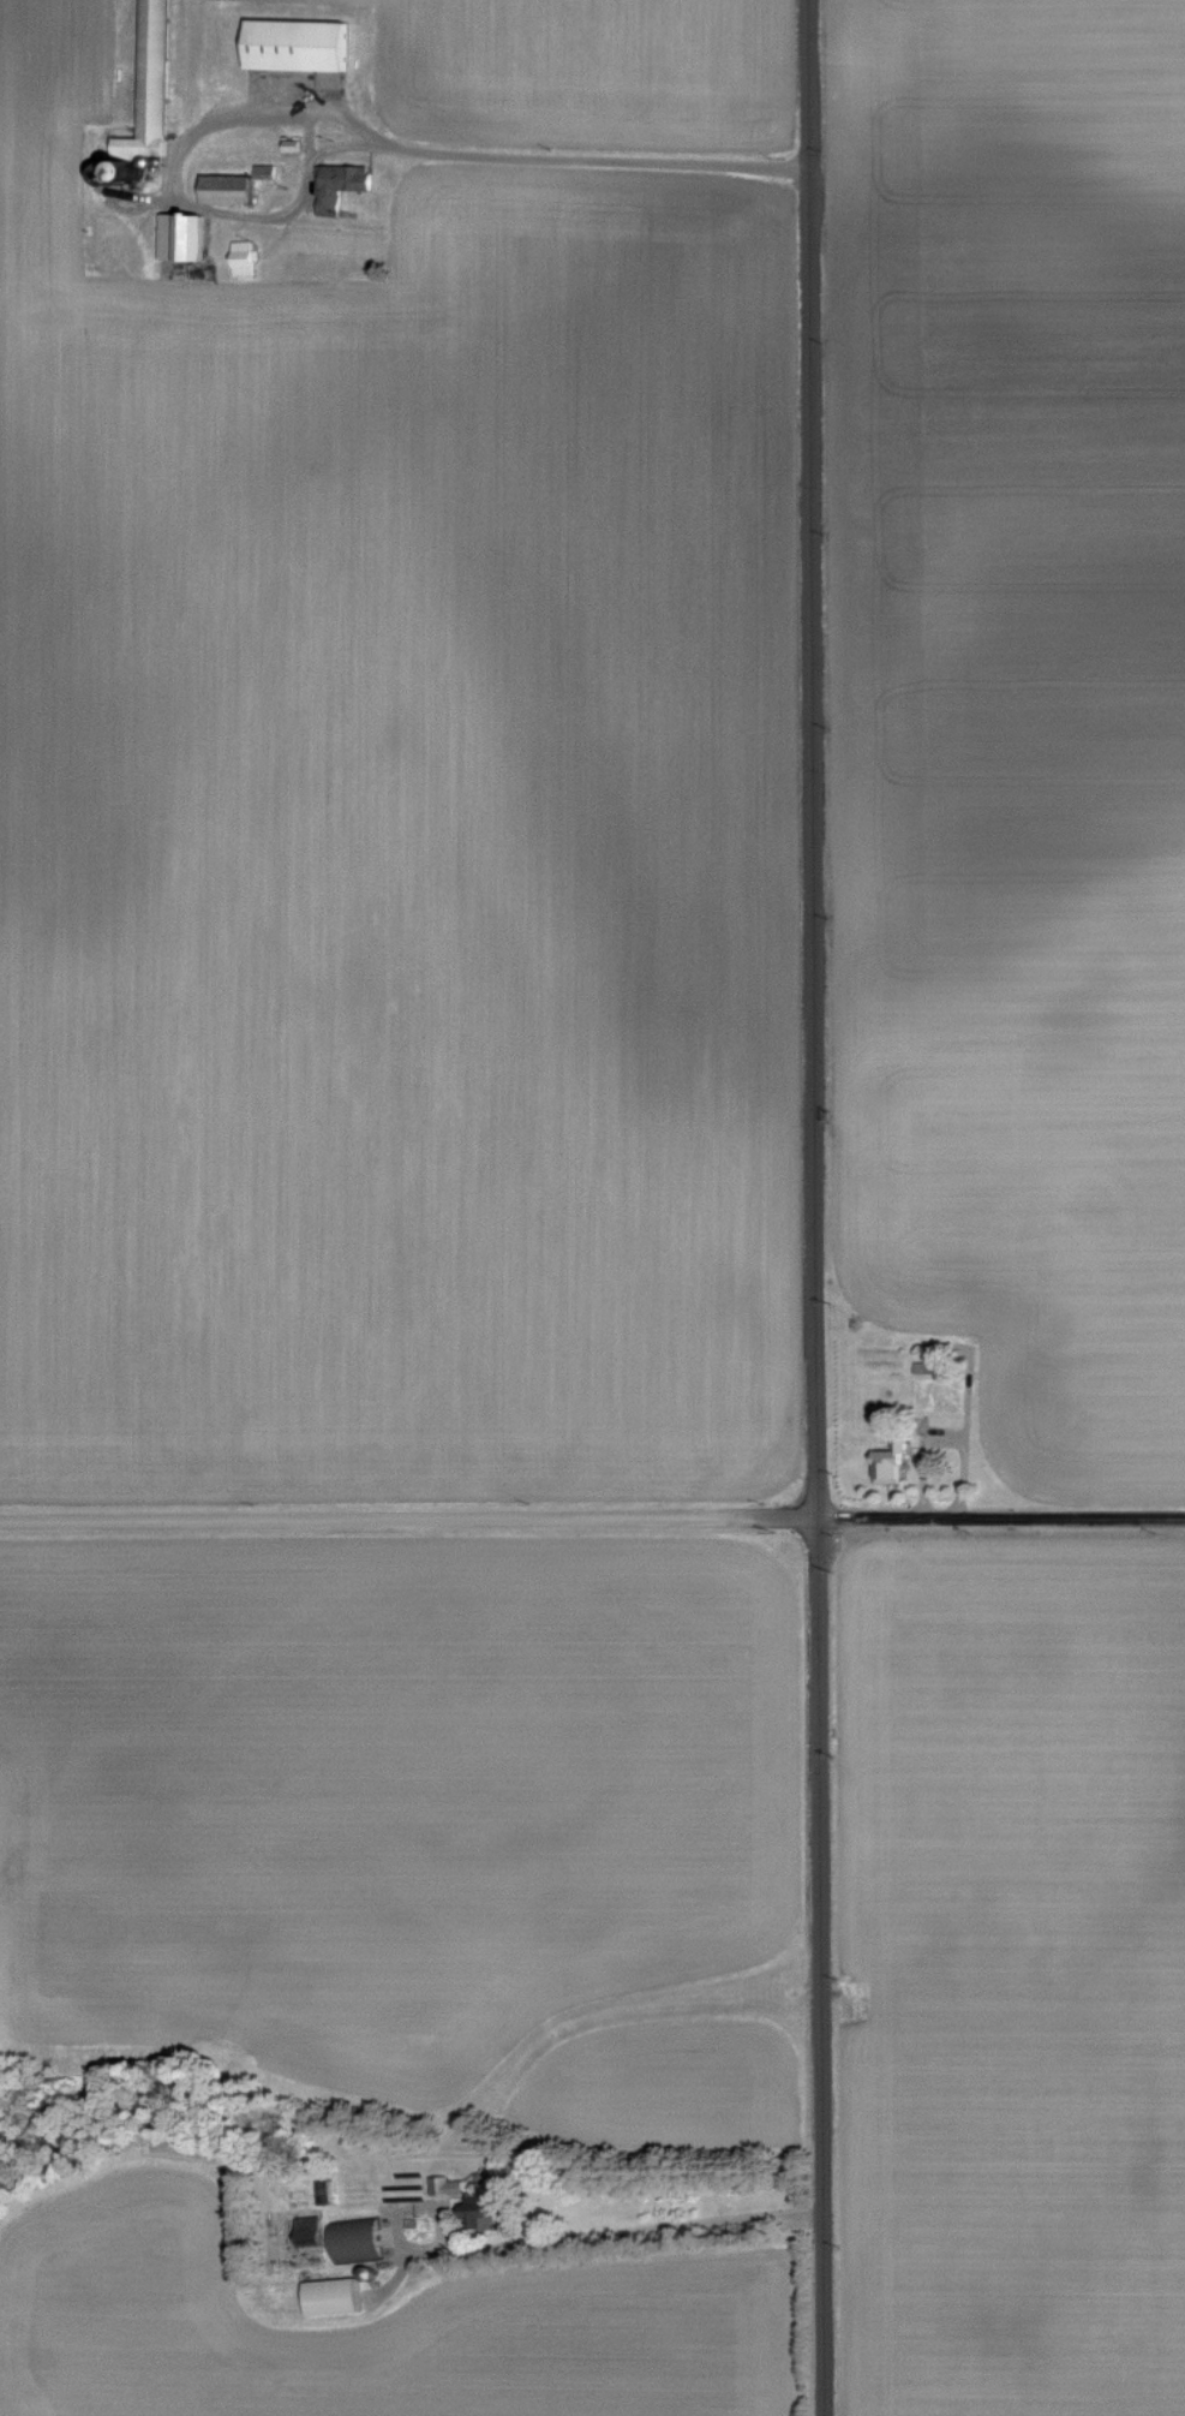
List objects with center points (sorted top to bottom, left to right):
building: (294, 43)
building: (288, 145)
road: (336, 147)
building: (262, 171)
building: (223, 189)
building: (179, 235)
building: (240, 257)
road: (821, 1207)
building: (924, 1367)
building: (887, 1463)
road: (1006, 1522)
road: (359, 1525)
road: (773, 1525)
building: (443, 2185)
building: (475, 2214)
building: (306, 2231)
road: (602, 2233)
building: (352, 2239)
building: (328, 2296)

